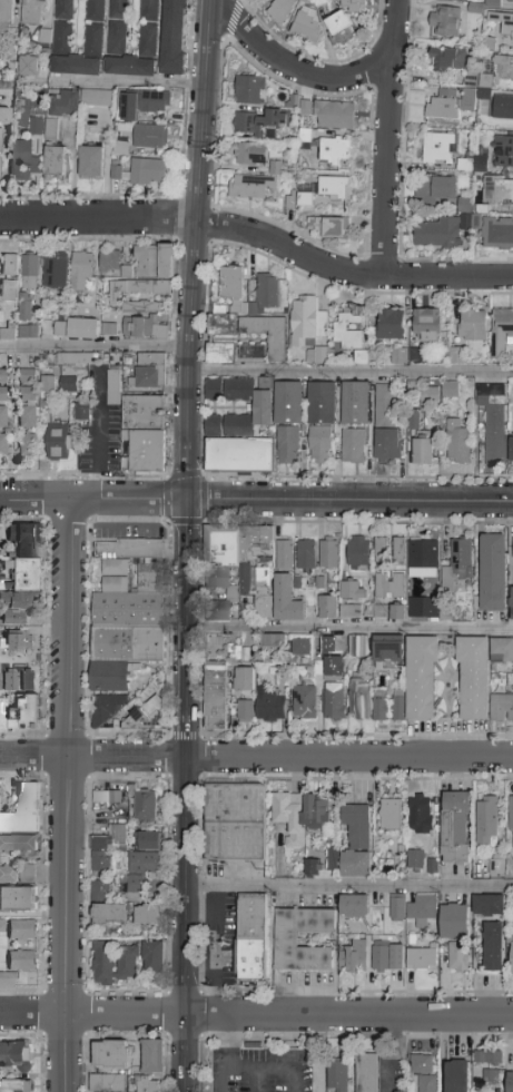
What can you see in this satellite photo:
building: (322, 1)
building: (511, 1)
building: (353, 6)
building: (118, 10)
building: (282, 10)
building: (33, 12)
building: (6, 14)
building: (445, 21)
building: (503, 23)
building: (308, 24)
building: (62, 26)
building: (93, 27)
building: (149, 27)
building: (343, 30)
building: (174, 36)
building: (117, 38)
building: (447, 59)
building: (28, 66)
building: (77, 66)
building: (130, 67)
building: (503, 68)
road: (294, 69)
building: (6, 83)
road: (129, 85)
building: (249, 90)
building: (97, 98)
building: (293, 101)
building: (152, 102)
building: (65, 104)
building: (443, 108)
building: (503, 108)
building: (124, 115)
building: (4, 116)
building: (335, 116)
building: (257, 121)
building: (50, 127)
building: (36, 128)
building: (150, 137)
road: (387, 138)
building: (0, 140)
building: (440, 149)
building: (336, 151)
building: (504, 151)
building: (250, 154)
building: (90, 158)
building: (21, 159)
building: (56, 164)
building: (477, 164)
building: (274, 168)
building: (115, 171)
building: (148, 173)
building: (247, 187)
building: (436, 187)
building: (335, 189)
building: (499, 190)
building: (305, 199)
building: (331, 227)
building: (440, 234)
building: (499, 234)
road: (258, 237)
road: (195, 249)
building: (110, 262)
building: (154, 262)
building: (9, 265)
building: (81, 270)
building: (30, 272)
building: (56, 272)
building: (231, 286)
building: (8, 289)
building: (138, 289)
building: (265, 295)
building: (24, 307)
building: (145, 321)
building: (307, 322)
building: (391, 324)
building: (223, 325)
building: (427, 325)
building: (472, 325)
building: (60, 328)
building: (83, 328)
building: (349, 328)
building: (109, 329)
building: (17, 331)
building: (501, 331)
building: (267, 334)
road: (93, 347)
building: (251, 353)
building: (220, 354)
building: (398, 354)
building: (457, 355)
building: (359, 356)
building: (76, 360)
building: (149, 372)
road: (351, 375)
building: (28, 376)
building: (48, 383)
building: (68, 384)
building: (114, 386)
building: (451, 390)
building: (430, 396)
building: (2, 399)
building: (289, 404)
building: (322, 404)
building: (355, 404)
building: (144, 406)
building: (27, 407)
building: (413, 417)
building: (493, 420)
building: (386, 423)
building: (239, 430)
building: (458, 442)
building: (3, 444)
building: (27, 444)
building: (288, 444)
building: (319, 444)
building: (60, 445)
building: (354, 446)
building: (424, 449)
building: (512, 450)
building: (146, 451)
road: (96, 452)
road: (36, 498)
road: (128, 500)
road: (349, 500)
building: (381, 551)
building: (358, 552)
building: (398, 552)
building: (423, 553)
building: (306, 554)
building: (329, 554)
building: (24, 557)
building: (285, 557)
building: (457, 564)
building: (239, 567)
building: (493, 572)
building: (389, 587)
building: (354, 591)
building: (286, 600)
building: (20, 601)
building: (512, 603)
building: (328, 607)
building: (424, 608)
building: (127, 611)
building: (351, 611)
building: (377, 612)
building: (396, 612)
building: (12, 616)
road: (348, 630)
building: (19, 641)
building: (274, 641)
building: (328, 645)
building: (384, 645)
building: (358, 646)
building: (302, 647)
building: (503, 651)
building: (322, 668)
building: (422, 678)
building: (474, 678)
building: (245, 679)
building: (28, 680)
building: (10, 681)
building: (215, 696)
building: (359, 699)
building: (334, 700)
building: (304, 702)
building: (379, 706)
building: (398, 706)
building: (270, 707)
building: (502, 708)
building: (106, 710)
building: (245, 710)
building: (20, 714)
building: (147, 715)
road: (256, 758)
road: (65, 795)
road: (184, 795)
building: (107, 797)
building: (146, 807)
building: (24, 811)
building: (300, 815)
building: (391, 815)
building: (420, 815)
building: (486, 817)
building: (236, 823)
building: (512, 823)
building: (456, 828)
building: (148, 842)
building: (357, 842)
building: (18, 844)
building: (107, 848)
building: (416, 860)
building: (432, 864)
building: (333, 865)
building: (497, 866)
building: (313, 867)
building: (141, 869)
building: (8, 874)
building: (27, 874)
road: (348, 887)
building: (100, 888)
building: (17, 899)
building: (354, 906)
building: (490, 906)
road: (210, 908)
building: (413, 908)
building: (110, 915)
building: (147, 915)
building: (454, 922)
building: (0, 924)
building: (22, 931)
building: (251, 937)
building: (286, 941)
building: (493, 947)
building: (512, 953)
building: (154, 957)
building: (458, 957)
building: (353, 958)
building: (387, 958)
building: (22, 960)
building: (422, 960)
building: (103, 963)
building: (127, 963)
building: (8, 978)
road: (256, 1015)
road: (230, 1041)
building: (111, 1055)
building: (16, 1056)
building: (152, 1056)
road: (229, 1066)
building: (490, 1066)
parking lot: (262, 1071)
road: (285, 1071)
building: (423, 1072)
building: (368, 1073)
building: (338, 1076)
building: (457, 1076)
road: (257, 1082)
building: (511, 1082)
building: (107, 1083)
building: (145, 1084)
building: (14, 1086)

